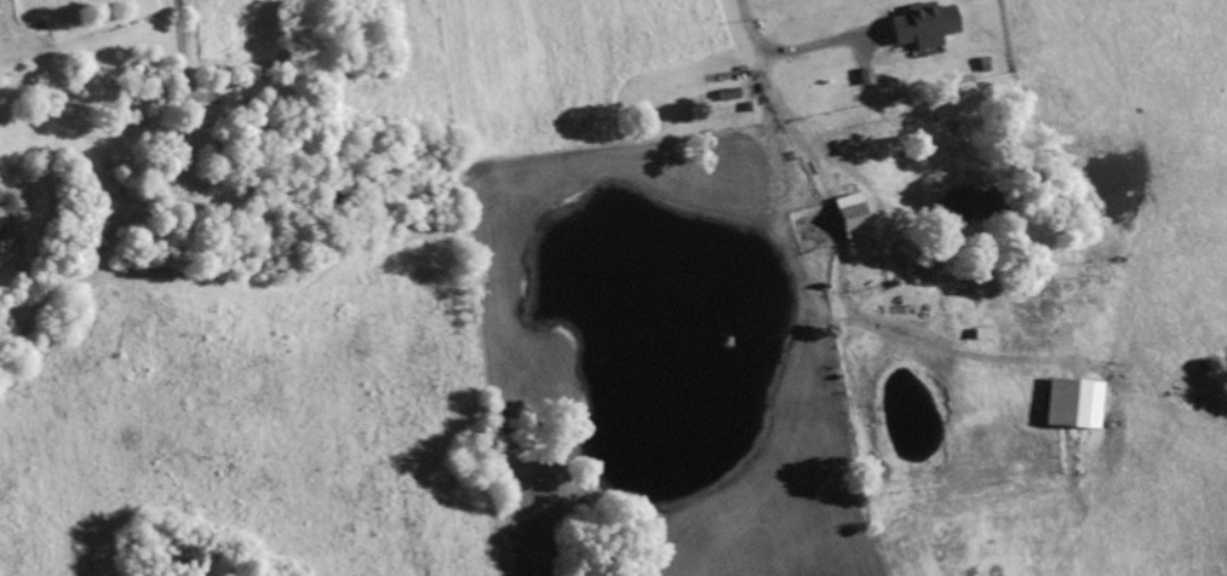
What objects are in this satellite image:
building: (916, 27)
building: (0, 40)
building: (722, 96)
road: (825, 180)
building: (845, 219)
building: (977, 334)
building: (1067, 404)

